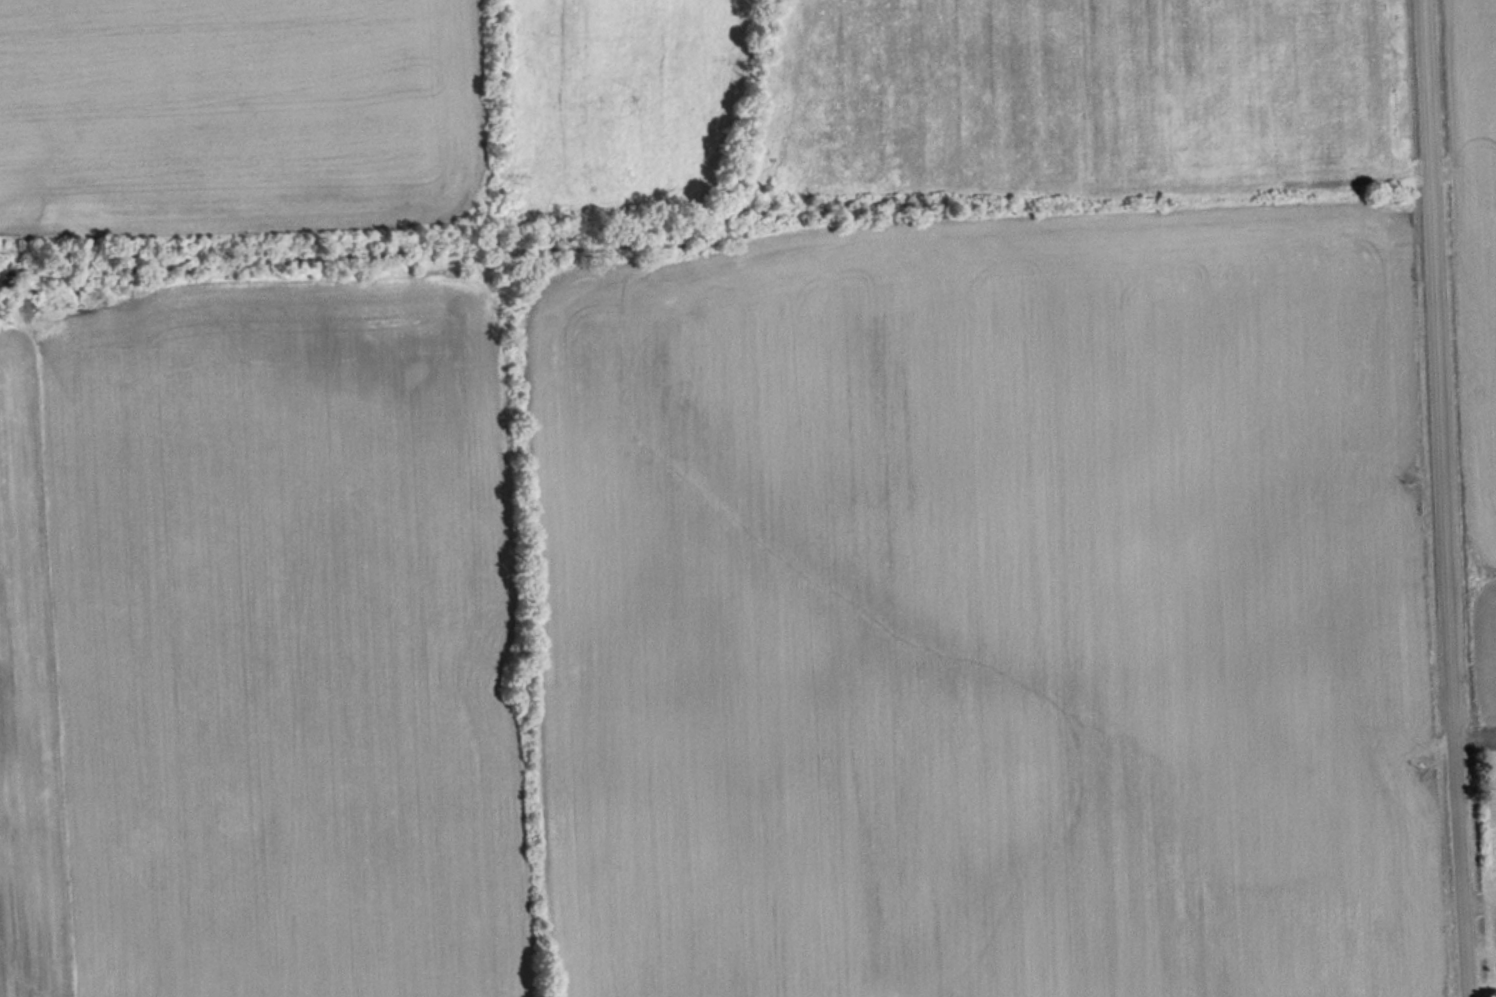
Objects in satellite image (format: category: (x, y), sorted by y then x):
road: (1439, 498)

